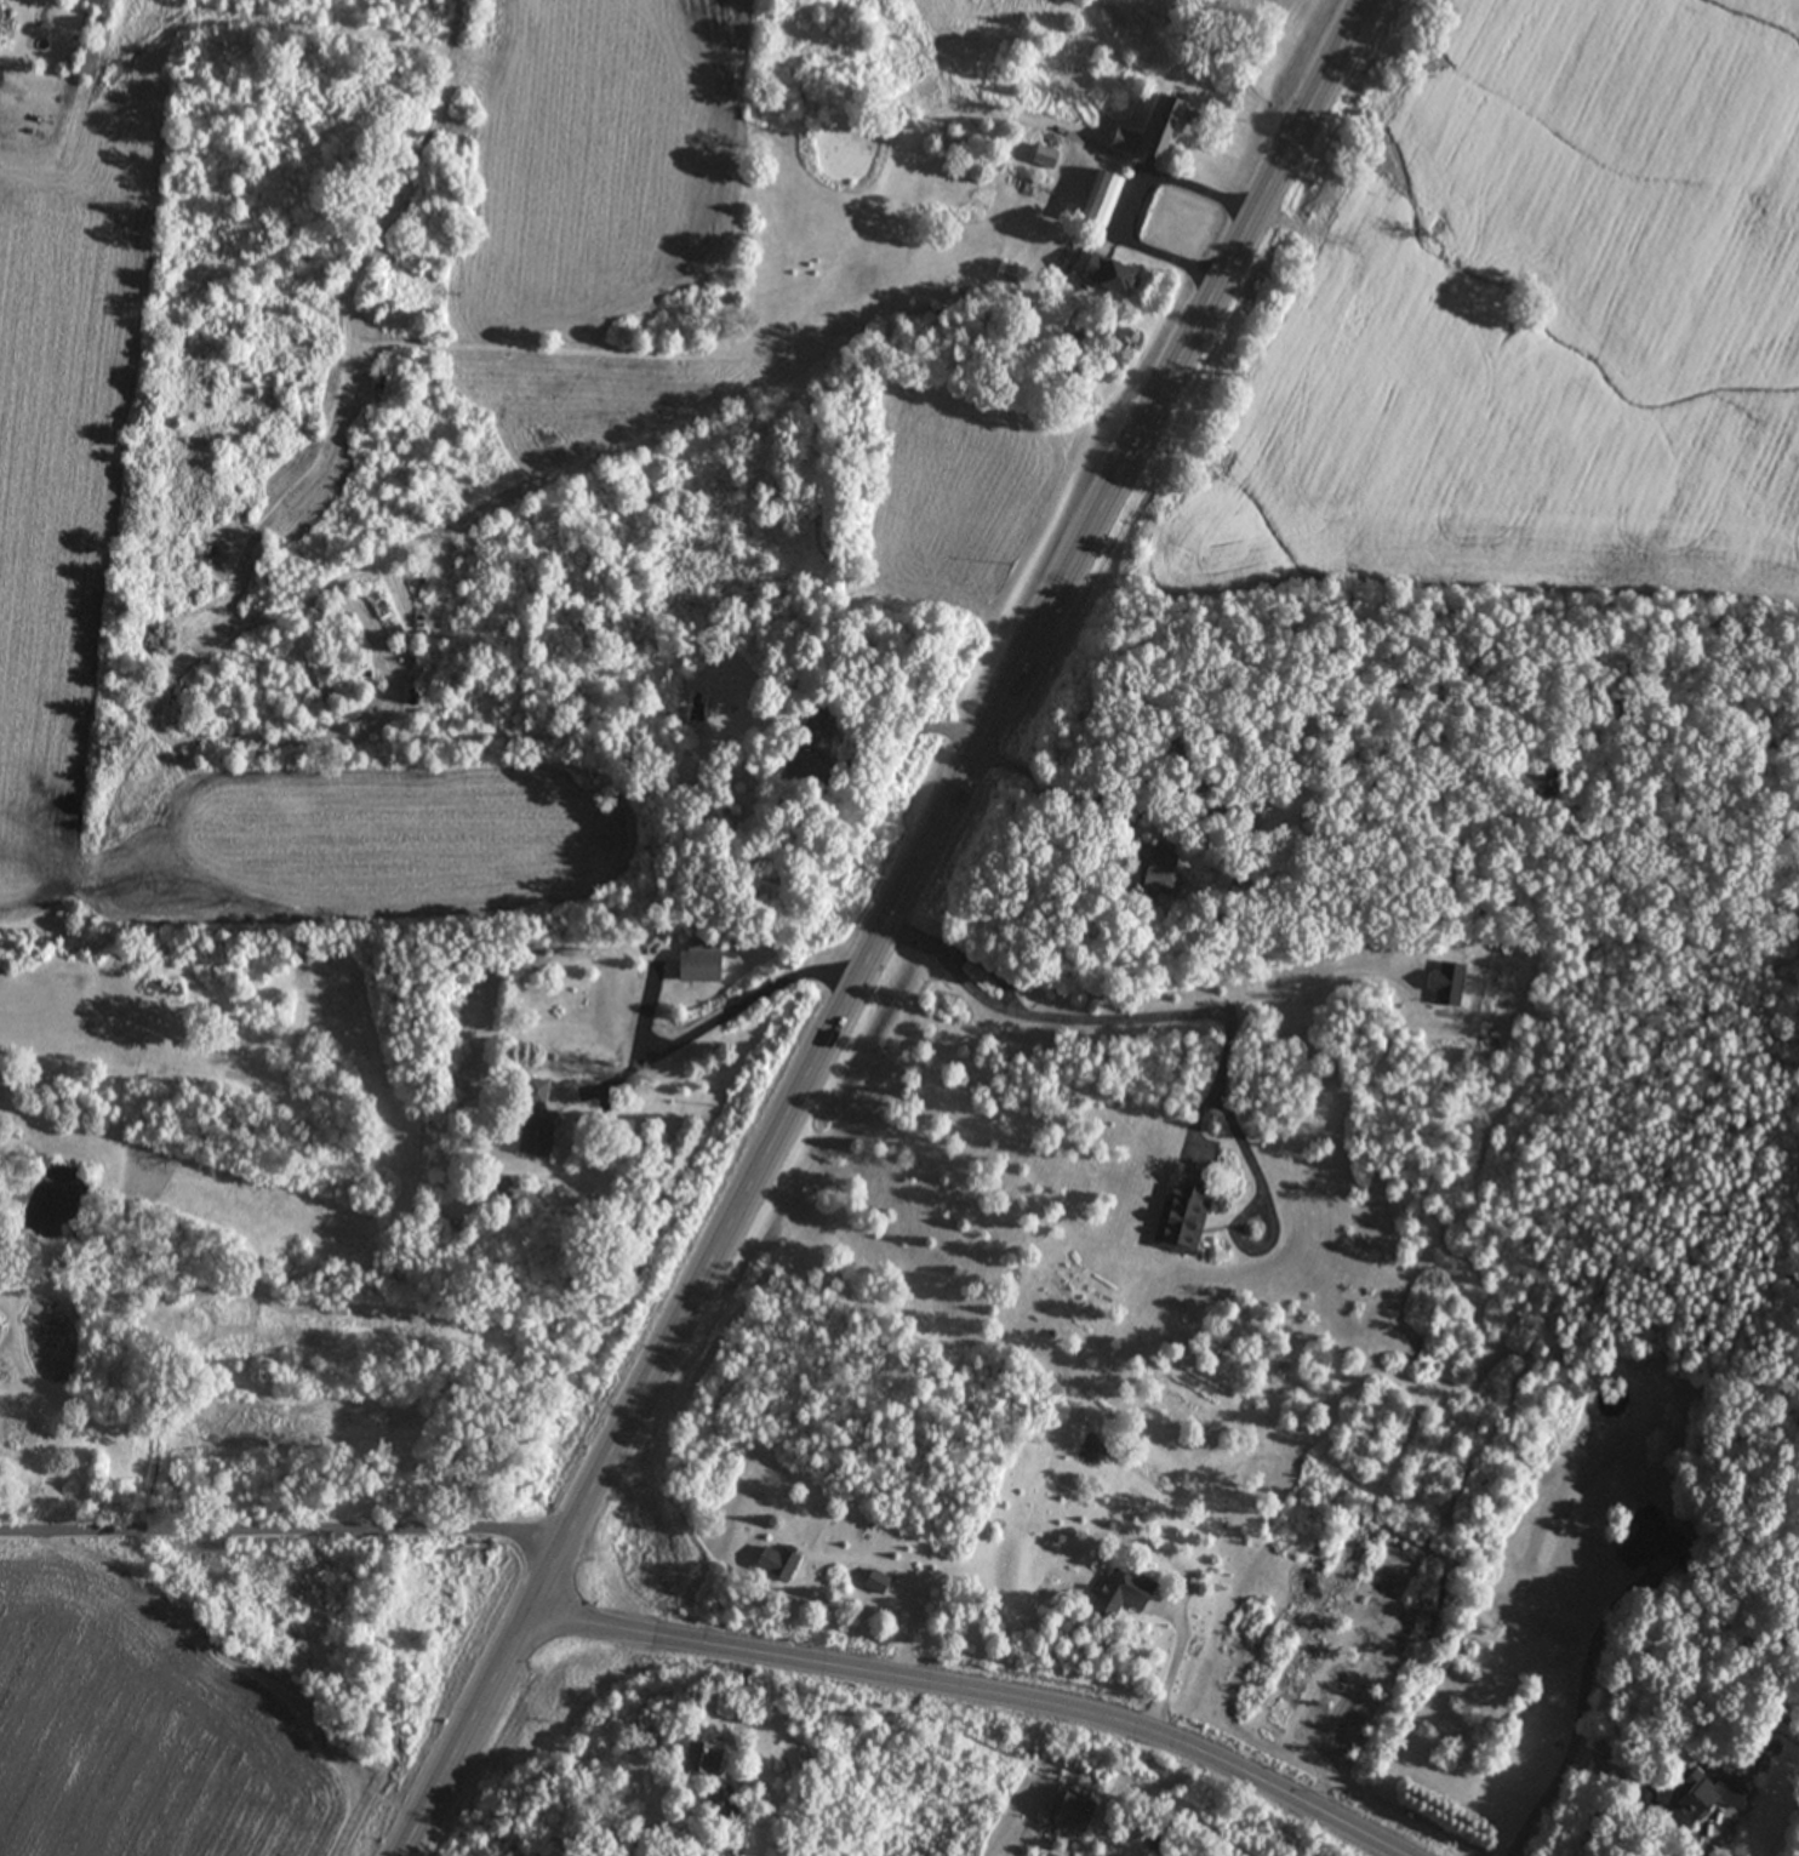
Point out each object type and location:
building: (1150, 132)
building: (1043, 158)
building: (1100, 200)
building: (1103, 274)
building: (809, 744)
building: (1156, 869)
building: (763, 892)
road: (891, 927)
building: (698, 961)
building: (1445, 984)
road: (725, 1010)
road: (1133, 1016)
building: (533, 1123)
building: (1180, 1213)
road: (286, 1542)
building: (1649, 1544)
building: (775, 1564)
building: (873, 1583)
building: (1116, 1594)
road: (1169, 1666)
road: (972, 1702)
road: (1575, 1720)
building: (697, 1760)
building: (1700, 1798)
building: (716, 1804)
building: (1068, 1811)

